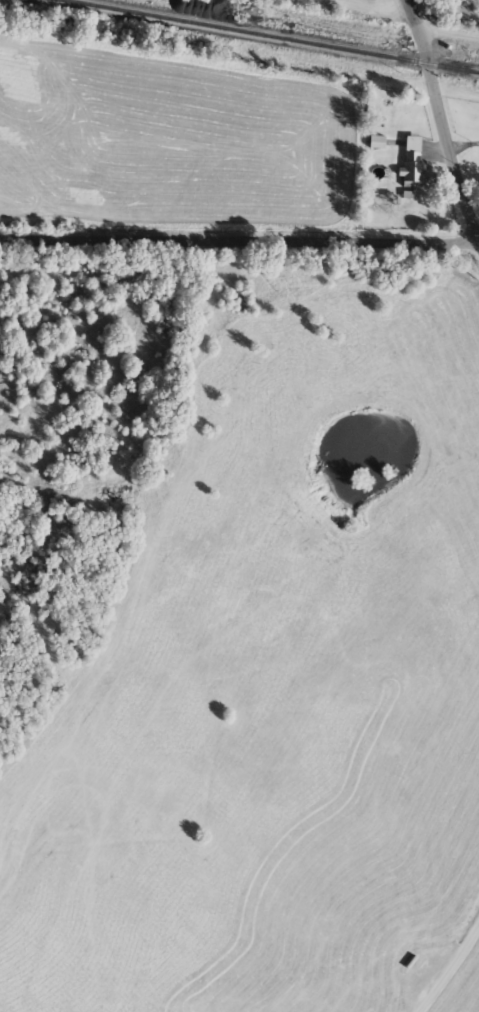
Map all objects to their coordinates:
road: (398, 1)
road: (447, 29)
railway: (266, 36)
road: (441, 119)
building: (411, 158)
road: (238, 238)
road: (477, 243)
road: (448, 965)

